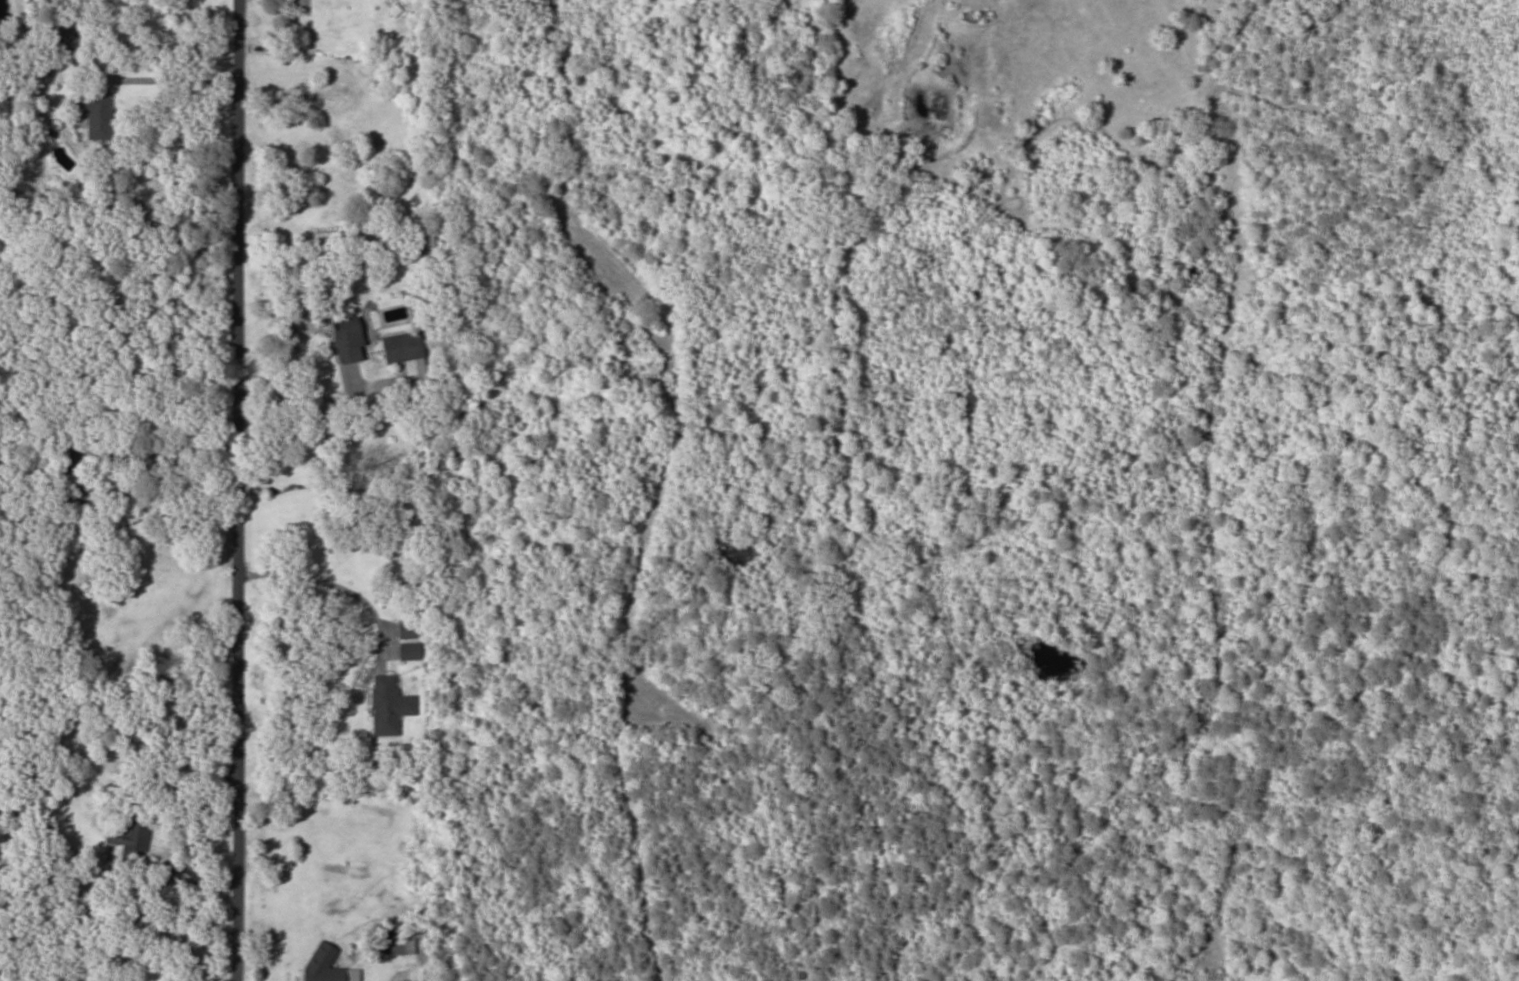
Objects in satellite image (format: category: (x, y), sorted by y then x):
building: (60, 39)
building: (94, 112)
building: (408, 231)
building: (346, 340)
building: (400, 346)
building: (67, 458)
road: (233, 490)
building: (71, 496)
building: (409, 629)
building: (408, 651)
building: (387, 705)
building: (129, 837)
building: (331, 973)

